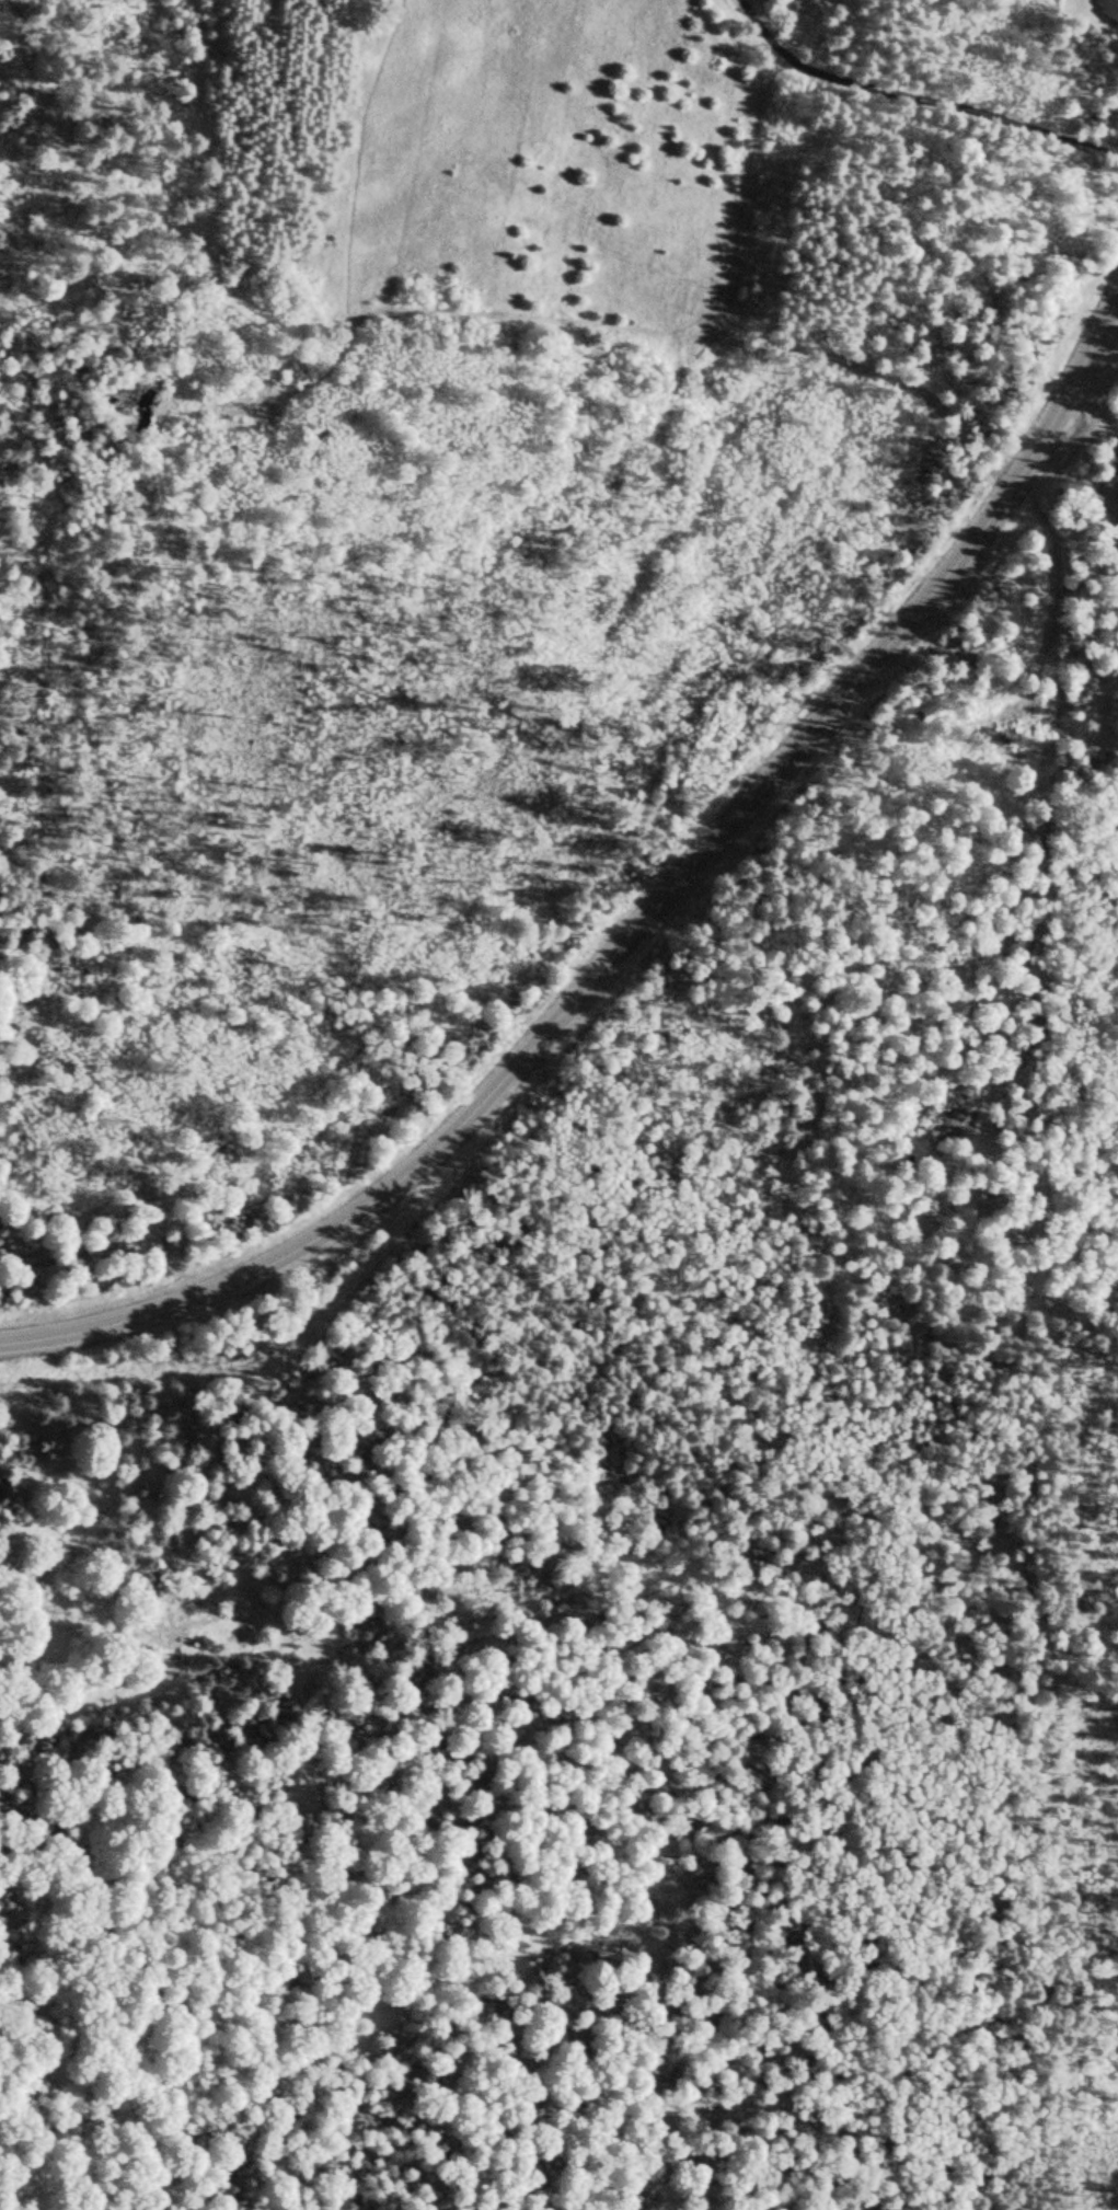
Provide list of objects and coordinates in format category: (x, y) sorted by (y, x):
building: (1106, 10)
road: (917, 97)
road: (1110, 446)
road: (639, 926)

